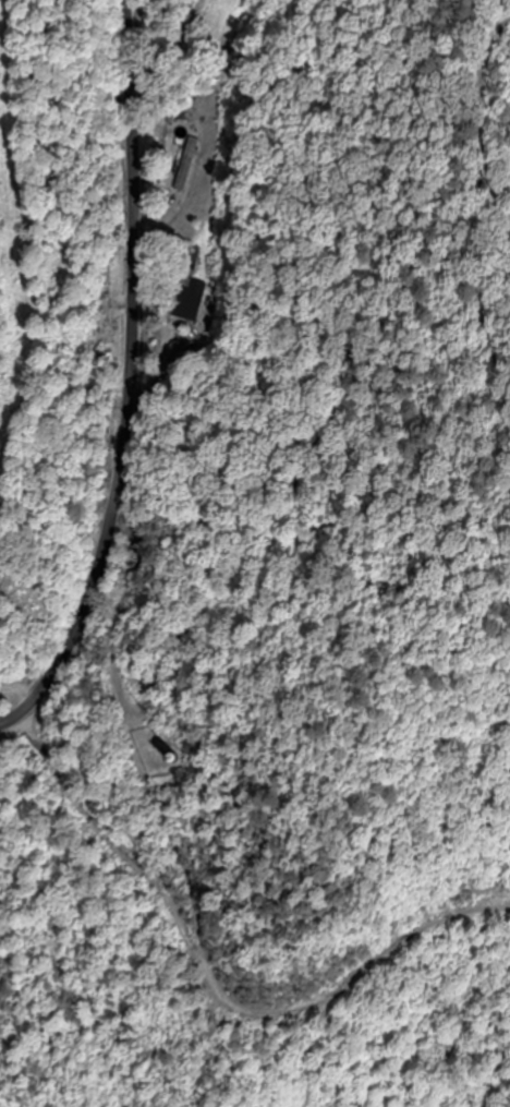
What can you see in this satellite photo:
building: (186, 166)
building: (189, 291)
road: (153, 386)
road: (215, 977)

